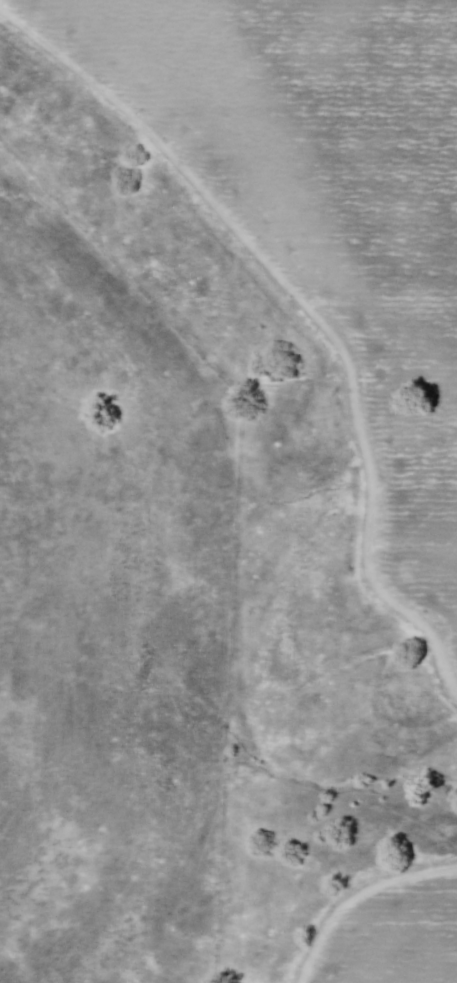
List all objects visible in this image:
road: (309, 315)
road: (357, 895)

